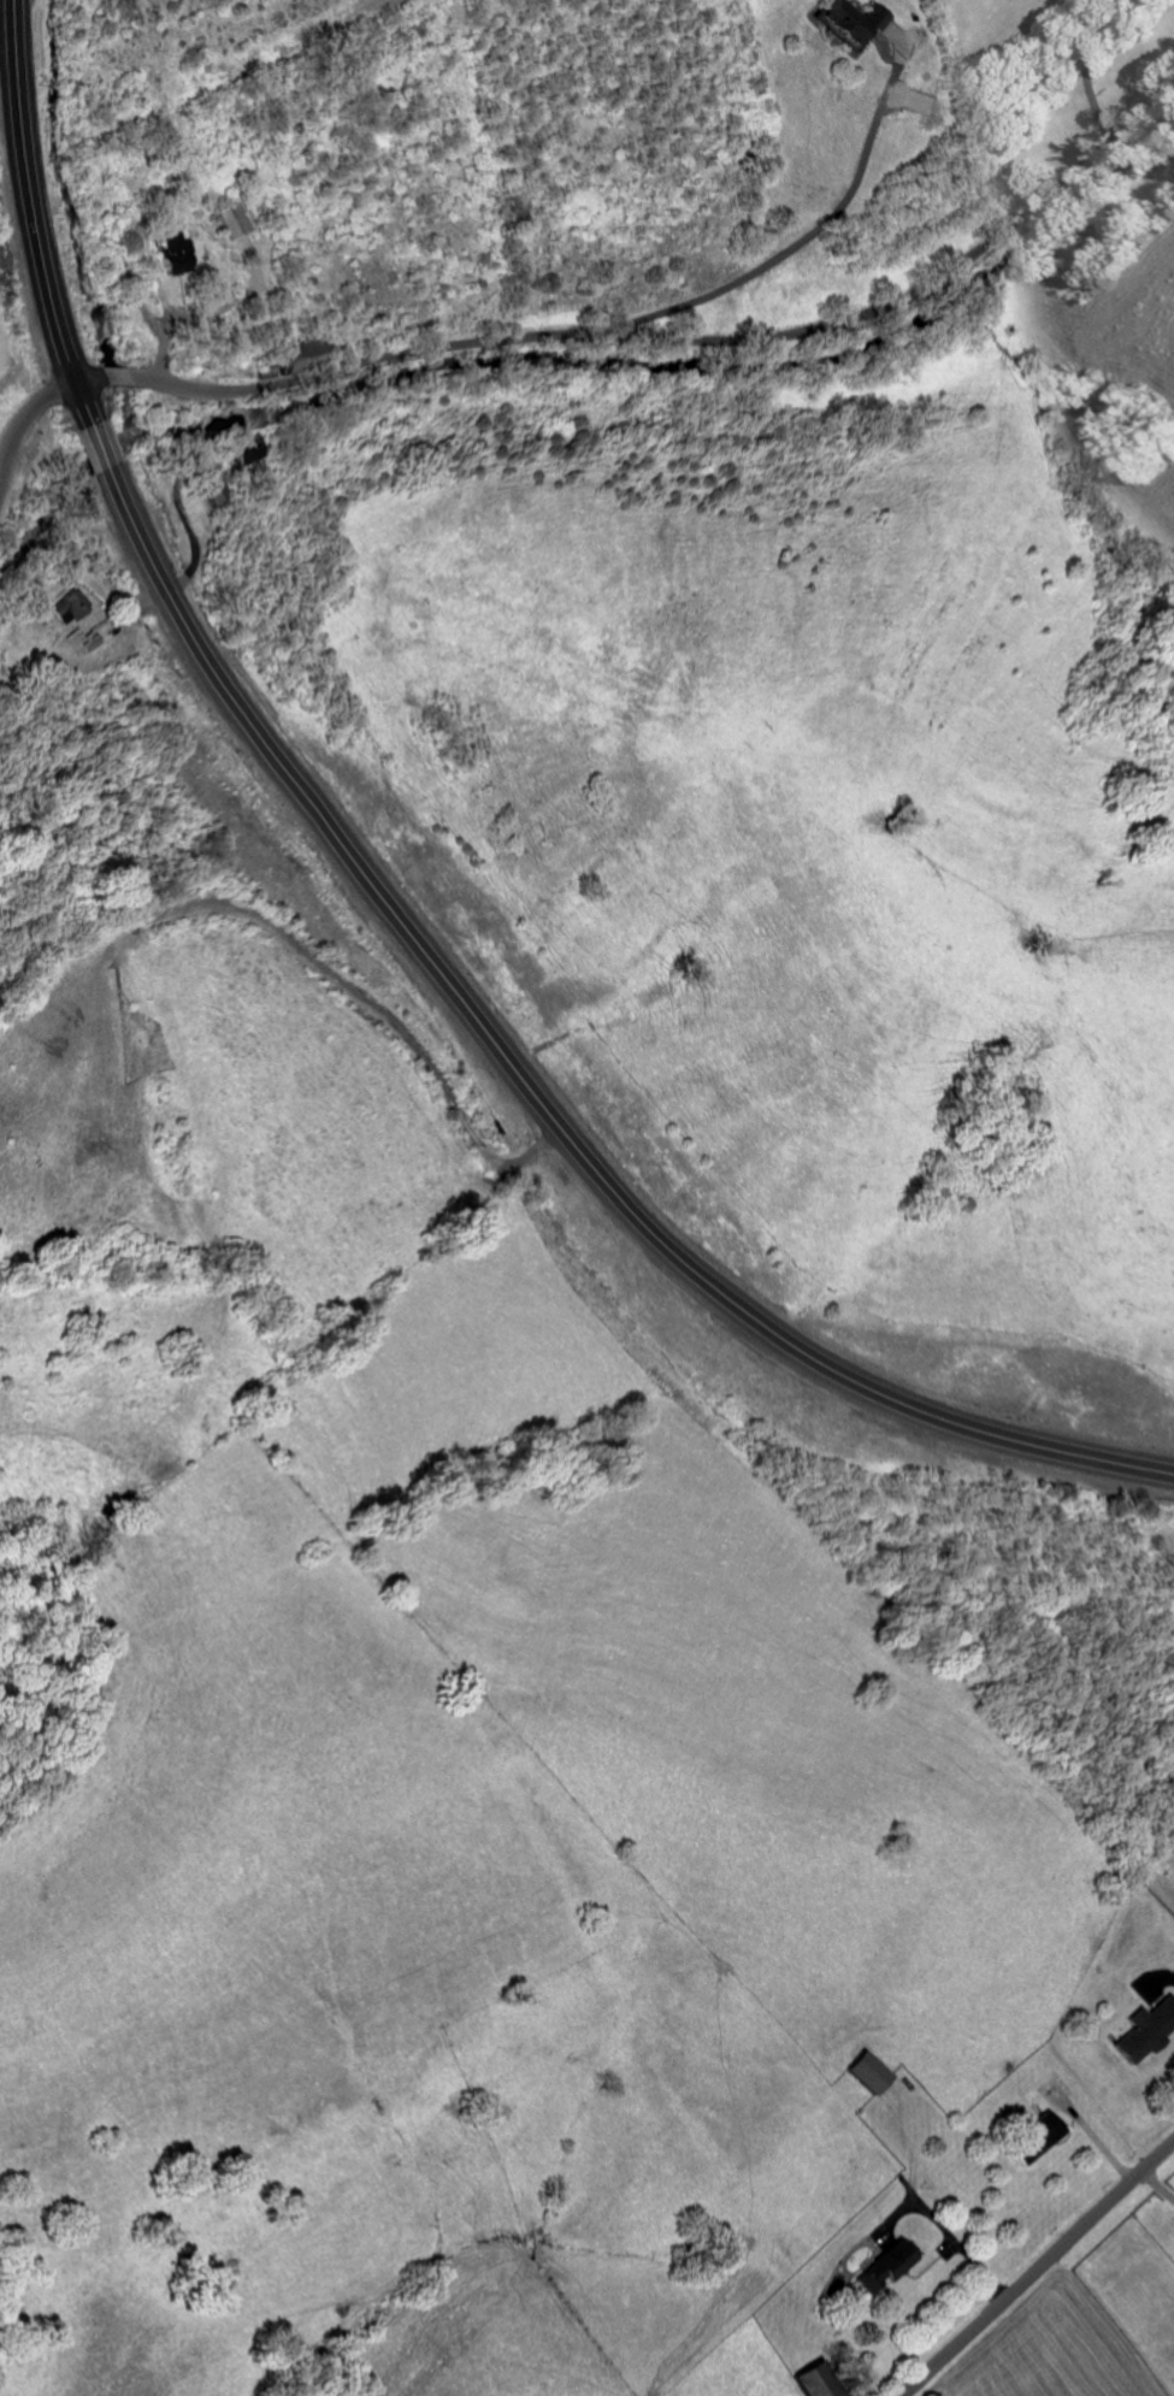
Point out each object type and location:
building: (853, 20)
road: (1089, 71)
road: (801, 238)
building: (177, 253)
road: (650, 335)
building: (259, 445)
road: (29, 467)
building: (75, 607)
road: (391, 904)
building: (1148, 2032)
building: (871, 2073)
building: (1038, 2138)
road: (1161, 2179)
road: (946, 2233)
building: (885, 2267)
road: (1039, 2270)
building: (819, 2380)

